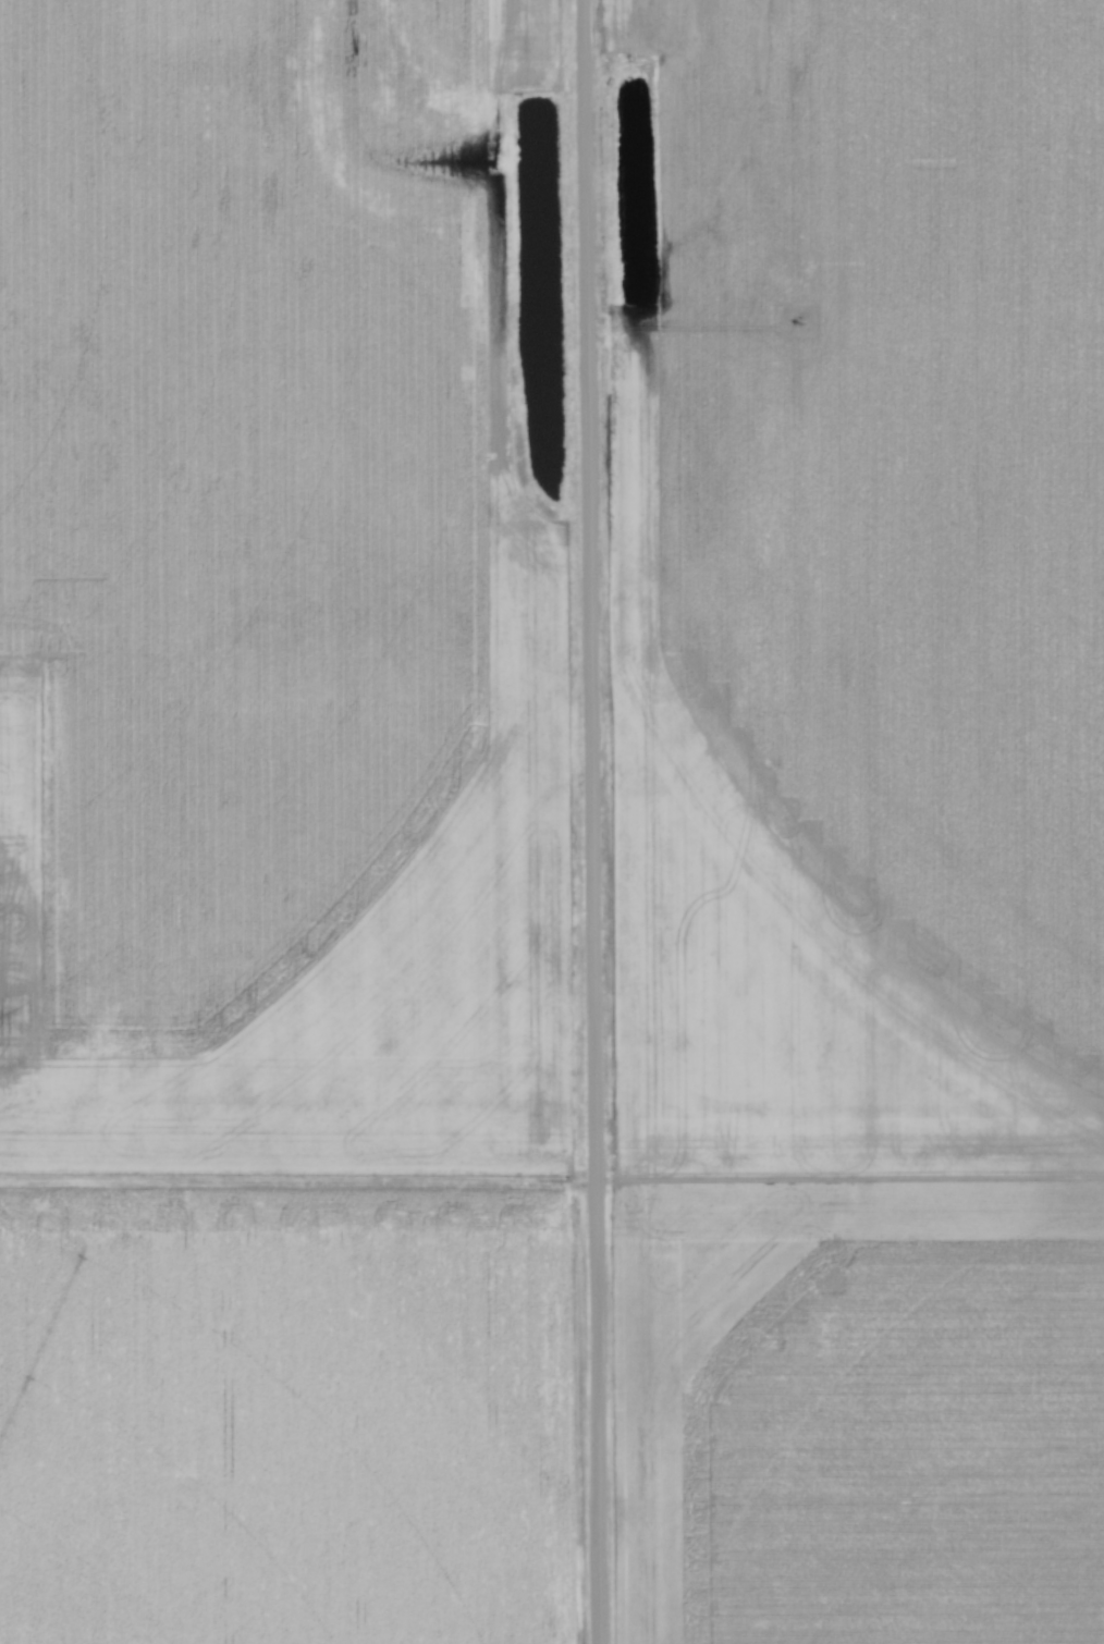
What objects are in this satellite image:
road: (589, 821)

